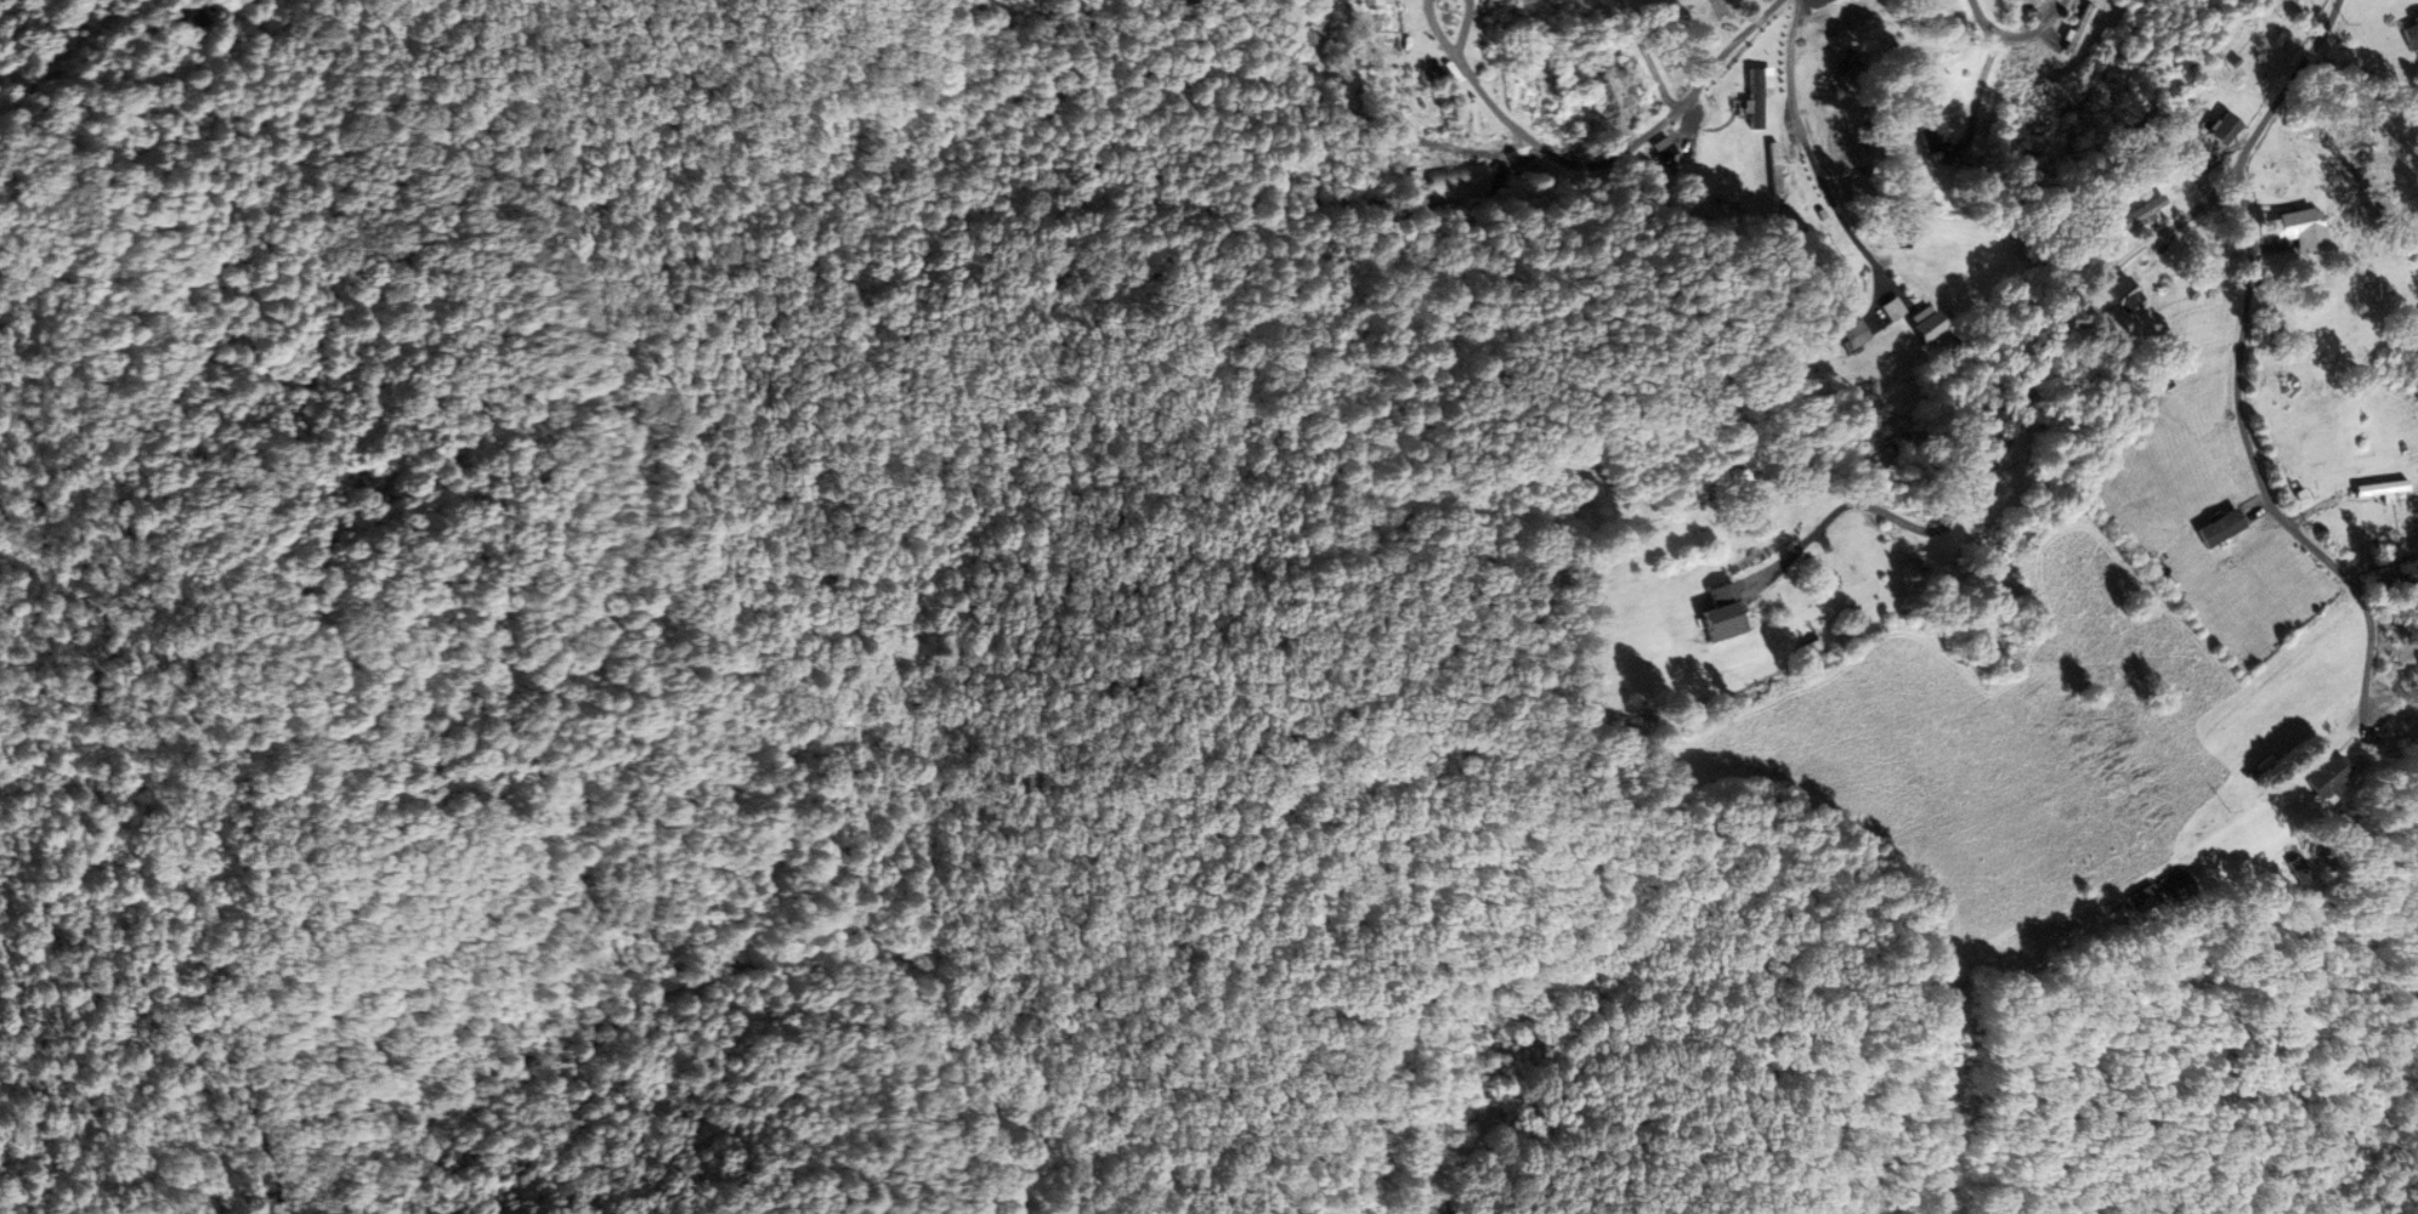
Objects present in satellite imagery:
building: (1857, 16)
building: (2078, 30)
building: (2409, 34)
road: (2015, 44)
road: (2372, 67)
building: (1756, 96)
building: (1931, 127)
building: (2219, 129)
building: (1663, 149)
road: (1805, 153)
road: (1623, 155)
building: (1773, 168)
building: (1459, 185)
building: (2134, 214)
building: (2299, 229)
building: (2124, 294)
building: (1922, 324)
building: (1852, 334)
road: (2236, 369)
road: (2009, 437)
building: (2382, 489)
building: (2216, 528)
building: (1717, 620)
building: (2322, 778)
building: (2174, 885)
building: (2139, 898)

